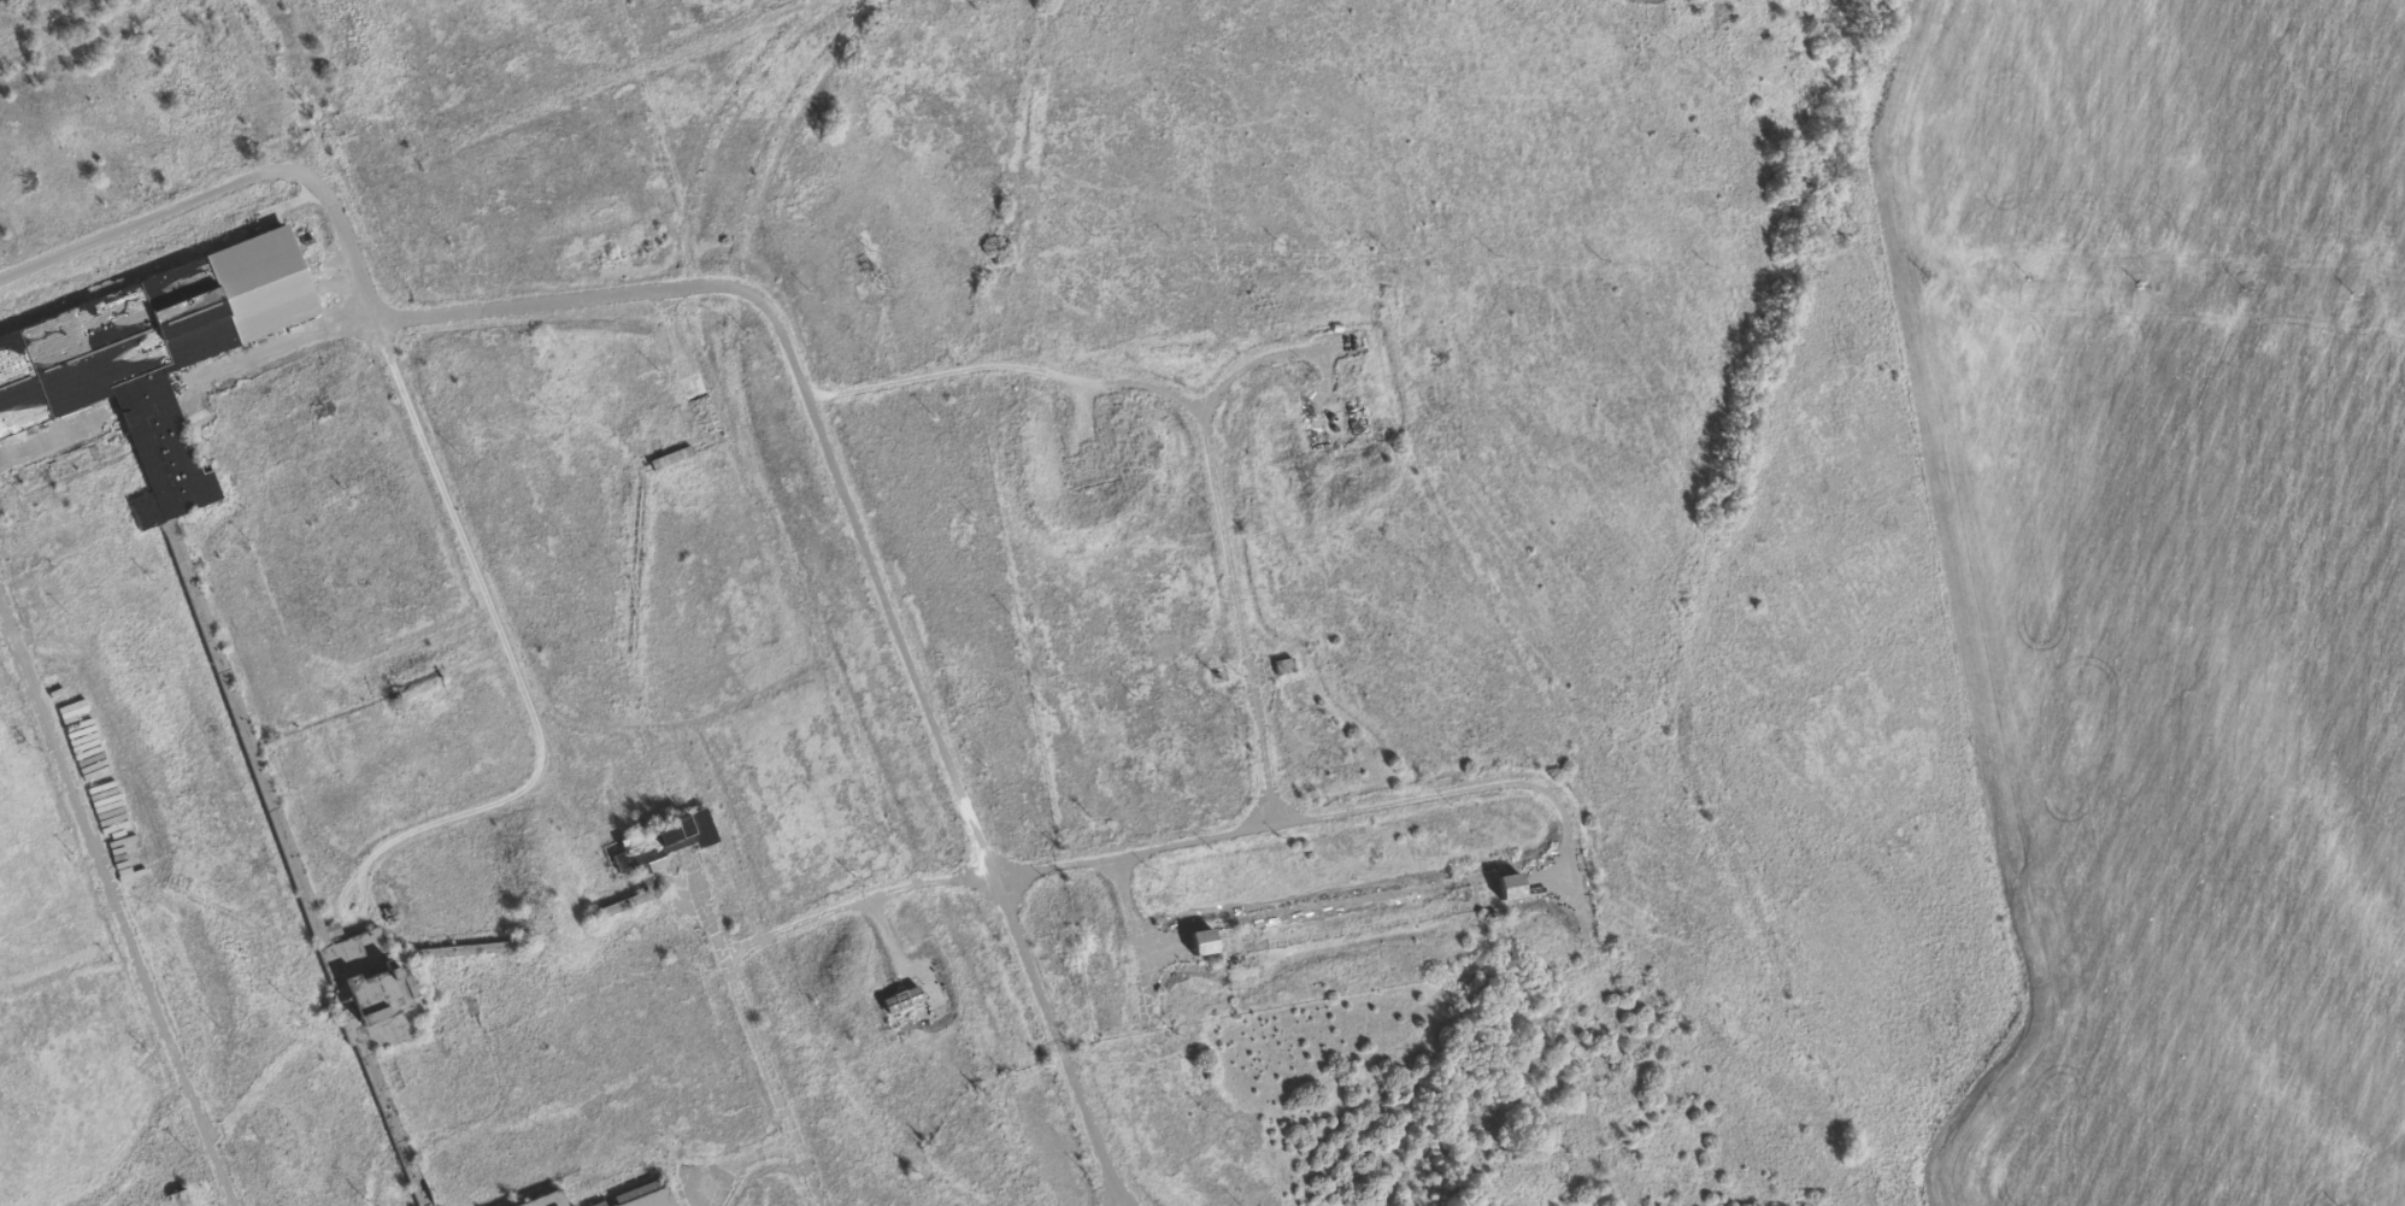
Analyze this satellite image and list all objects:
railway: (560, 99)
railway: (743, 188)
road: (164, 211)
road: (280, 346)
road: (1007, 366)
road: (49, 440)
road: (849, 510)
road: (1222, 530)
railway: (802, 598)
road: (516, 659)
building: (1284, 664)
building: (225, 667)
road: (1341, 810)
road: (1552, 880)
building: (1509, 886)
road: (857, 898)
road: (116, 902)
road: (887, 935)
building: (1202, 940)
road: (1135, 941)
road: (1159, 947)
building: (901, 998)
railway: (795, 999)
road: (757, 1029)
road: (745, 1163)
building: (639, 1195)
building: (546, 1199)
building: (145, 1205)

